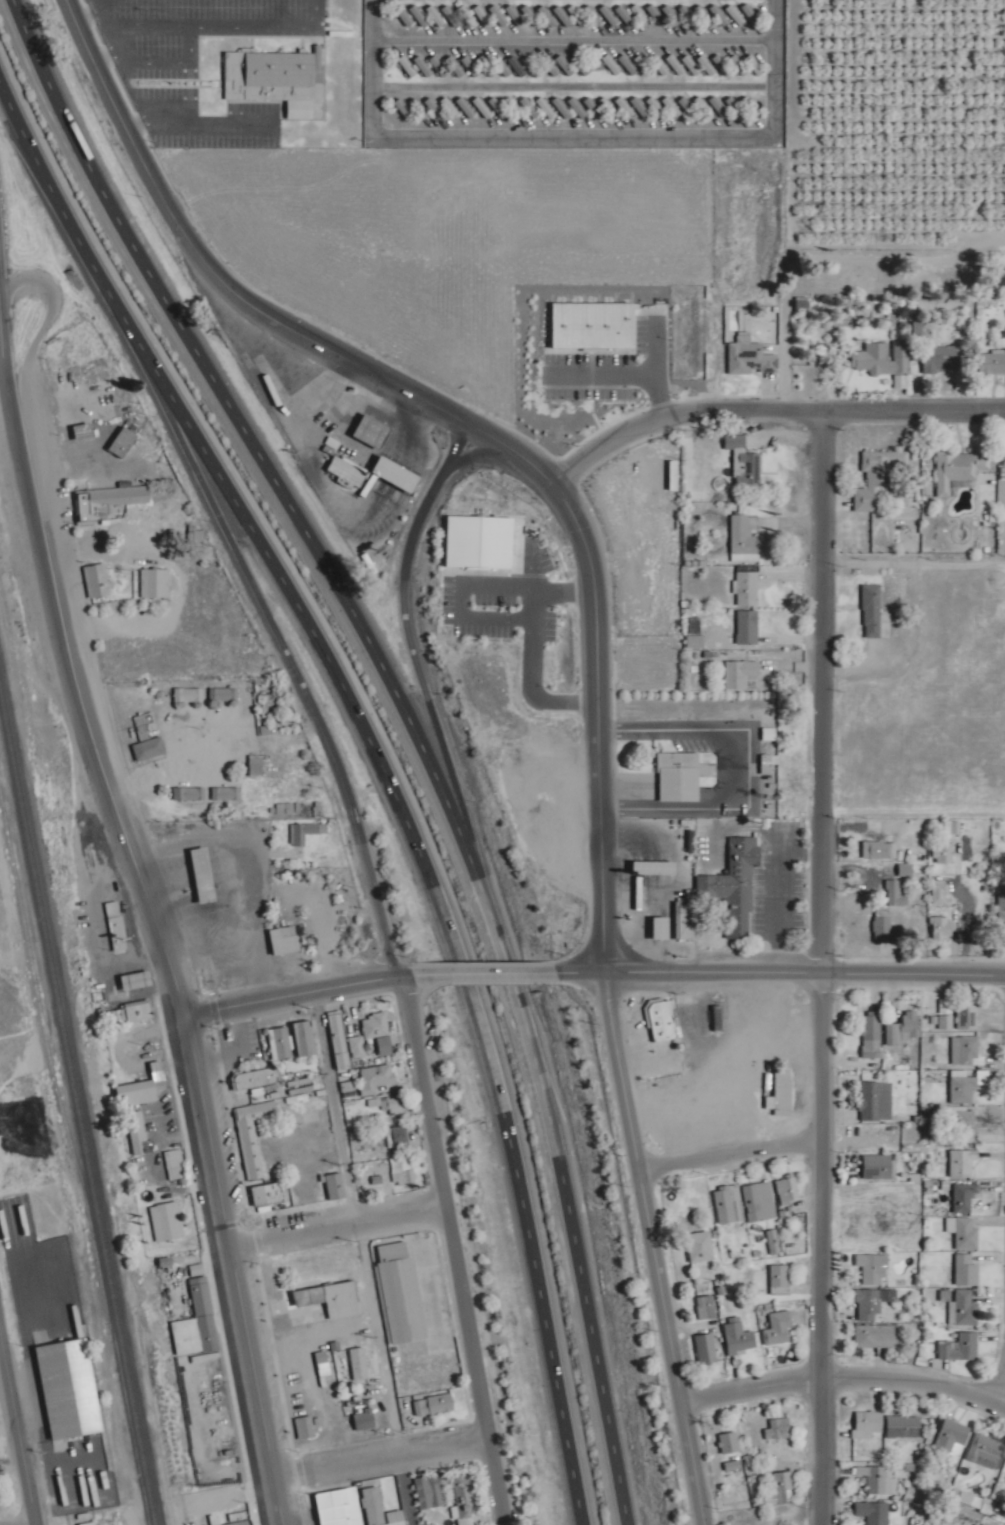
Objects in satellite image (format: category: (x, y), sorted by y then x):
building: (641, 14)
building: (577, 15)
building: (611, 23)
building: (613, 65)
building: (708, 65)
crop: (907, 70)
park: (231, 73)
building: (275, 76)
building: (640, 107)
building: (657, 107)
building: (583, 116)
road: (575, 138)
road: (63, 197)
road: (3, 263)
road: (210, 265)
road: (837, 266)
road: (48, 327)
building: (751, 357)
building: (939, 359)
building: (879, 361)
building: (991, 362)
road: (8, 366)
road: (765, 401)
building: (82, 432)
building: (370, 432)
road: (503, 439)
building: (122, 443)
road: (489, 455)
flagpole: (362, 458)
building: (744, 460)
road: (541, 470)
building: (959, 470)
building: (346, 471)
building: (392, 475)
building: (879, 477)
building: (110, 500)
building: (199, 536)
building: (746, 538)
building: (99, 580)
building: (157, 583)
road: (473, 586)
building: (748, 588)
building: (872, 610)
building: (748, 627)
road: (282, 637)
road: (531, 649)
road: (419, 656)
building: (741, 673)
road: (821, 685)
building: (190, 694)
building: (226, 694)
building: (267, 698)
road: (596, 719)
road: (417, 725)
road: (80, 728)
flagpole: (650, 740)
building: (150, 748)
building: (256, 765)
road: (745, 767)
building: (678, 777)
building: (190, 793)
building: (228, 793)
building: (290, 807)
building: (307, 832)
building: (877, 850)
road: (777, 853)
building: (942, 853)
flagpole: (747, 860)
building: (651, 868)
building: (906, 869)
building: (201, 875)
road: (662, 876)
building: (734, 886)
road: (434, 889)
building: (940, 889)
building: (893, 891)
building: (686, 920)
building: (883, 923)
building: (117, 927)
building: (658, 928)
building: (942, 928)
building: (283, 940)
road: (778, 970)
road: (489, 973)
road: (412, 976)
building: (134, 980)
road: (289, 993)
building: (130, 1012)
building: (947, 1014)
building: (969, 1016)
building: (662, 1020)
building: (376, 1025)
building: (905, 1029)
building: (872, 1034)
building: (304, 1039)
building: (339, 1040)
building: (280, 1042)
railway: (51, 1046)
building: (358, 1046)
building: (970, 1051)
road: (620, 1065)
building: (378, 1078)
building: (256, 1080)
building: (349, 1086)
building: (966, 1086)
railway: (80, 1091)
building: (783, 1092)
building: (136, 1093)
building: (876, 1101)
building: (393, 1104)
building: (964, 1124)
building: (137, 1131)
building: (253, 1135)
building: (405, 1141)
road: (725, 1145)
building: (963, 1164)
building: (176, 1165)
building: (877, 1167)
building: (406, 1177)
building: (336, 1186)
building: (788, 1189)
building: (265, 1194)
building: (964, 1197)
building: (760, 1201)
building: (729, 1204)
road: (332, 1215)
road: (362, 1215)
building: (167, 1222)
building: (964, 1233)
building: (774, 1241)
building: (700, 1247)
road: (817, 1247)
road: (453, 1250)
building: (874, 1269)
road: (228, 1270)
building: (966, 1270)
road: (655, 1278)
building: (781, 1279)
building: (400, 1294)
building: (341, 1300)
building: (868, 1305)
building: (706, 1307)
building: (965, 1308)
building: (197, 1323)
building: (778, 1327)
building: (877, 1336)
building: (740, 1338)
building: (960, 1347)
building: (706, 1348)
building: (359, 1363)
building: (324, 1364)
road: (841, 1370)
road: (1001, 1376)
building: (67, 1389)
building: (435, 1405)
building: (365, 1420)
building: (867, 1424)
building: (904, 1426)
building: (306, 1427)
building: (779, 1429)
building: (953, 1439)
road: (15, 1440)
building: (729, 1443)
road: (376, 1448)
building: (988, 1450)
road: (690, 1460)
building: (736, 1468)
building: (877, 1480)
road: (404, 1485)
building: (780, 1487)
building: (431, 1492)
building: (465, 1499)
building: (354, 1508)
building: (874, 1512)
road: (15, 1519)
building: (243, 1523)

